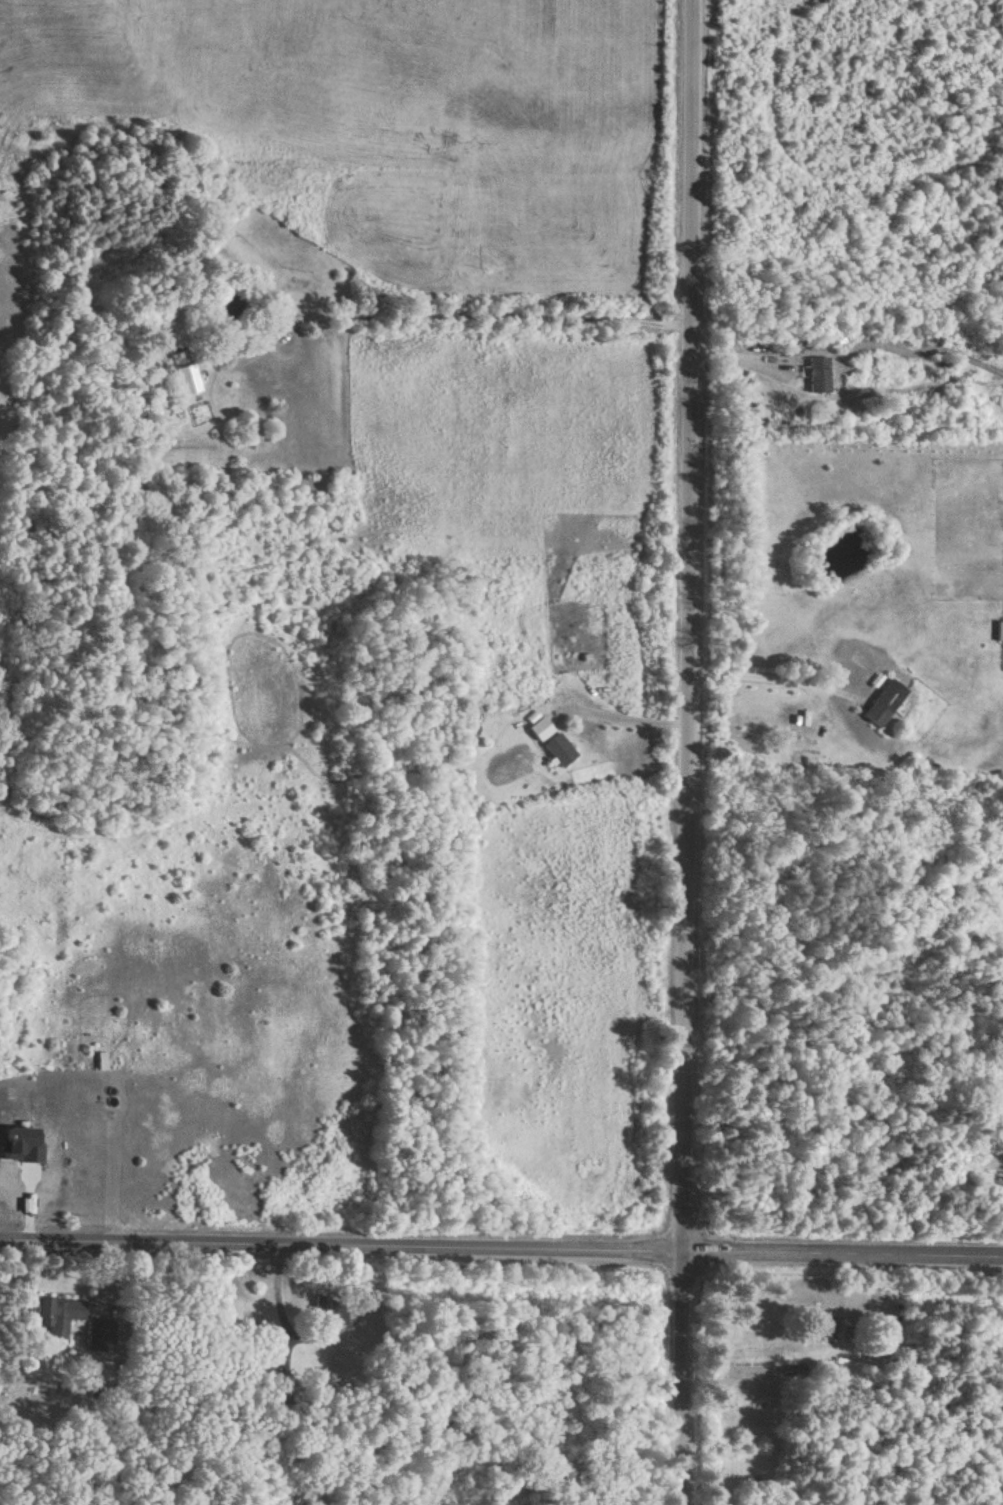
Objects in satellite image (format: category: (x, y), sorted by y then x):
road: (470, 315)
building: (186, 374)
building: (819, 377)
building: (1000, 634)
road: (779, 673)
building: (885, 705)
road: (617, 717)
road: (693, 752)
building: (560, 753)
road: (501, 1249)
building: (330, 1311)
building: (55, 1317)
building: (829, 1331)

